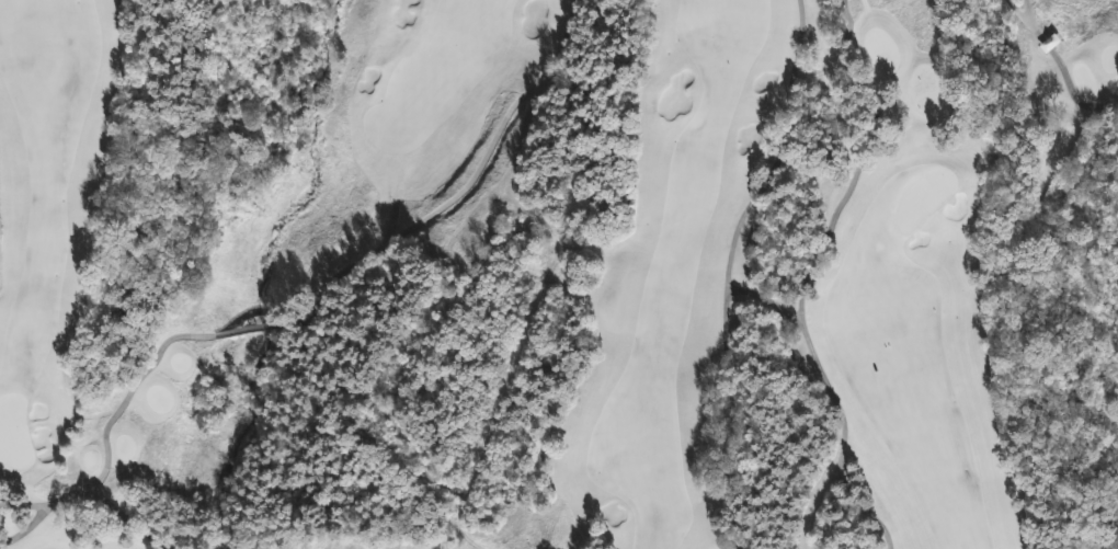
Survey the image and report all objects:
road: (1017, 13)
road: (1061, 68)
park: (921, 196)
road: (729, 268)
road: (808, 272)
park: (559, 274)
road: (308, 317)
park: (13, 433)
road: (811, 503)
road: (24, 505)
road: (128, 521)

